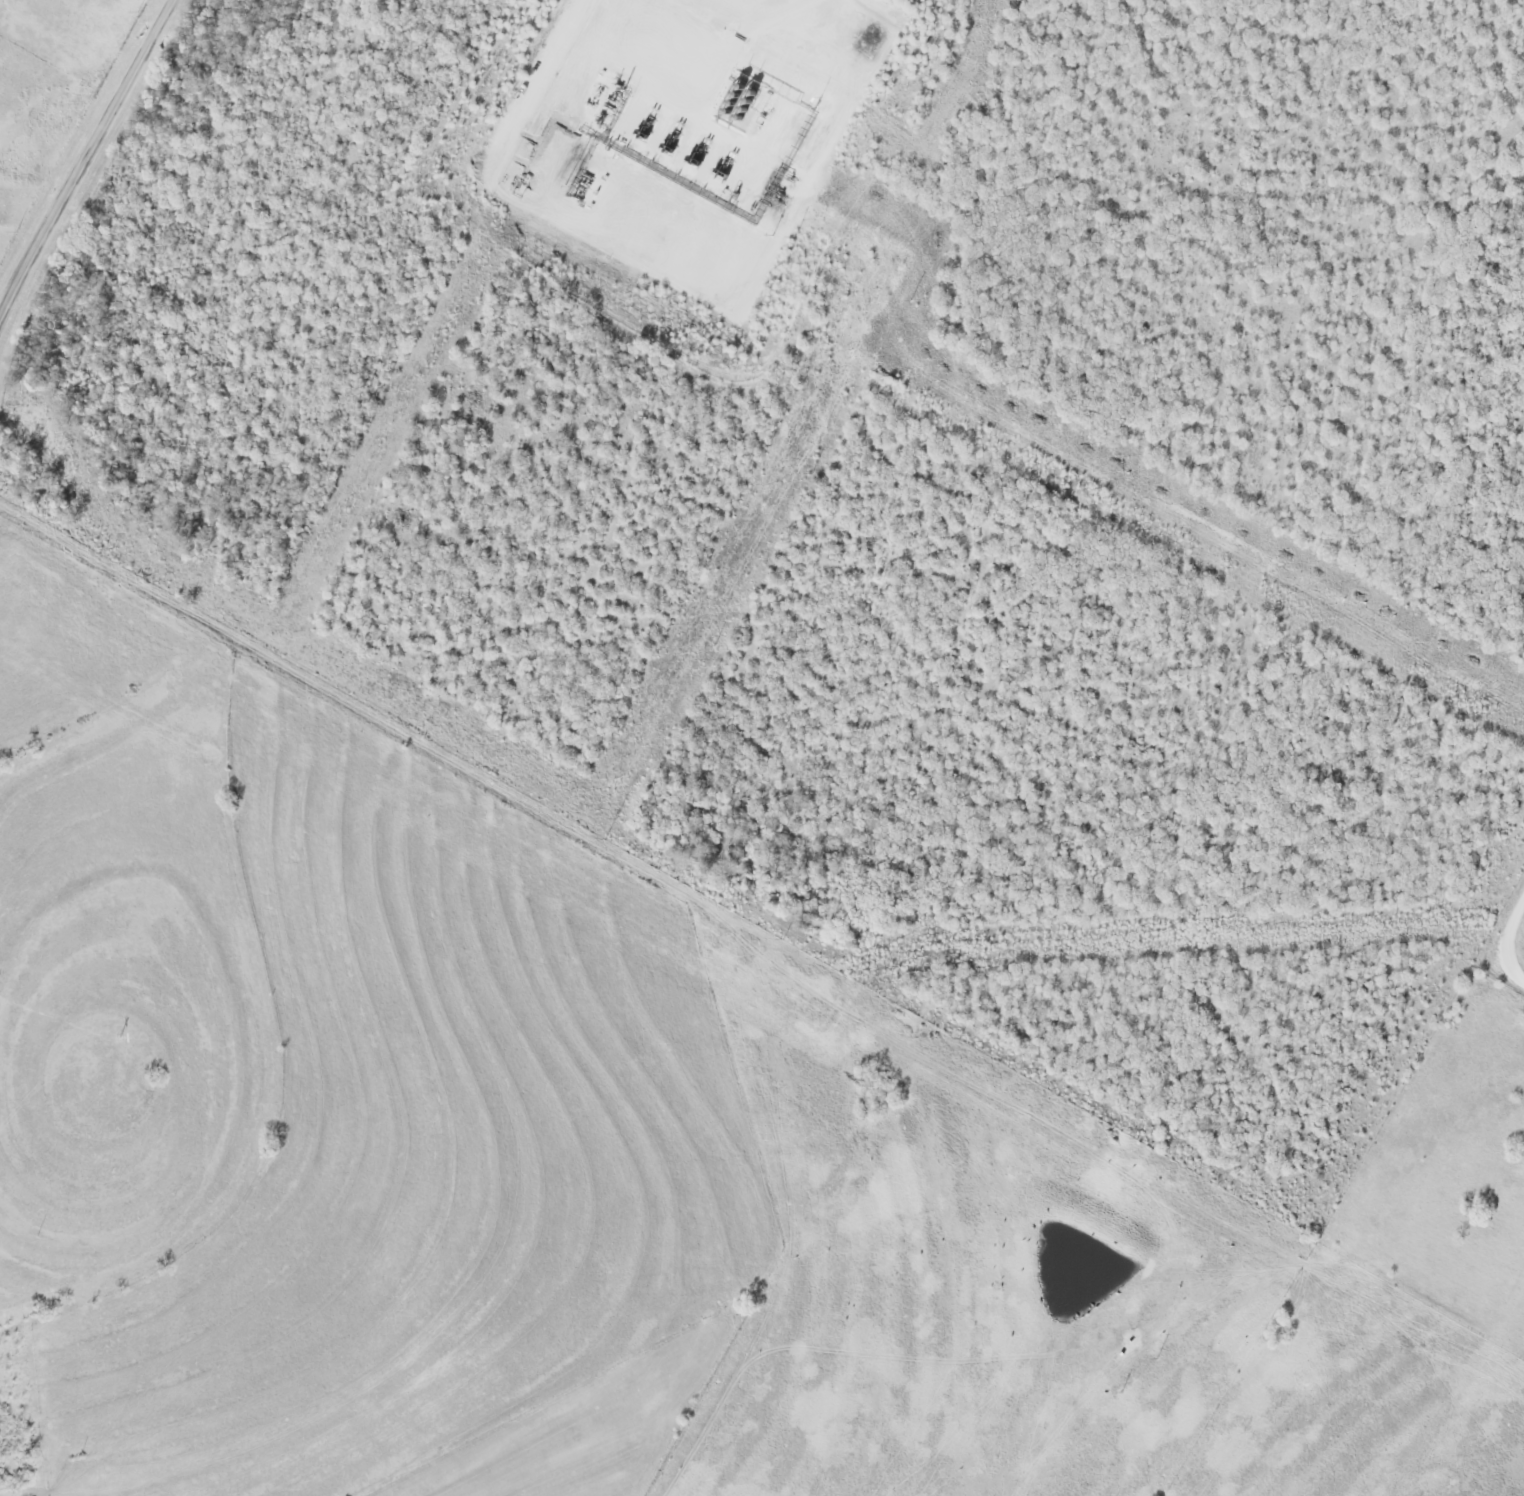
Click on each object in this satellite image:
road: (760, 155)
road: (86, 163)
road: (1507, 949)

